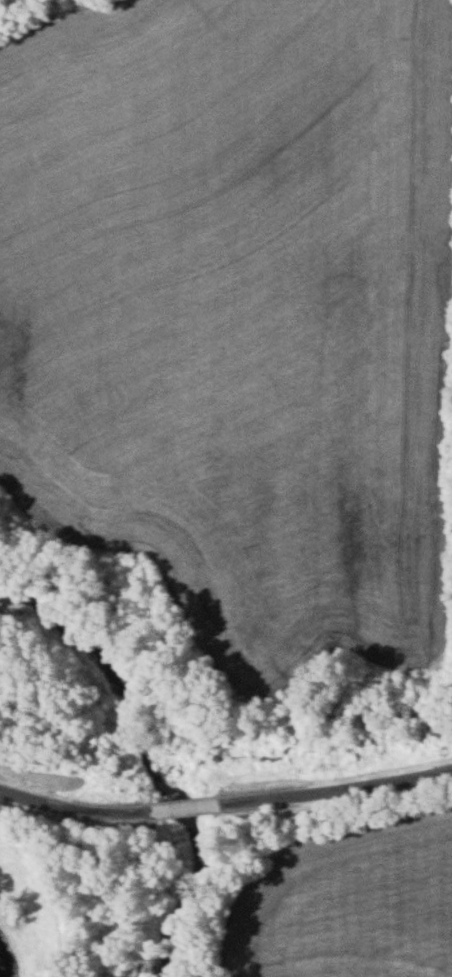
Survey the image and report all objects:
road: (337, 789)
road: (184, 807)
road: (72, 808)
crop: (349, 901)
river: (167, 905)

